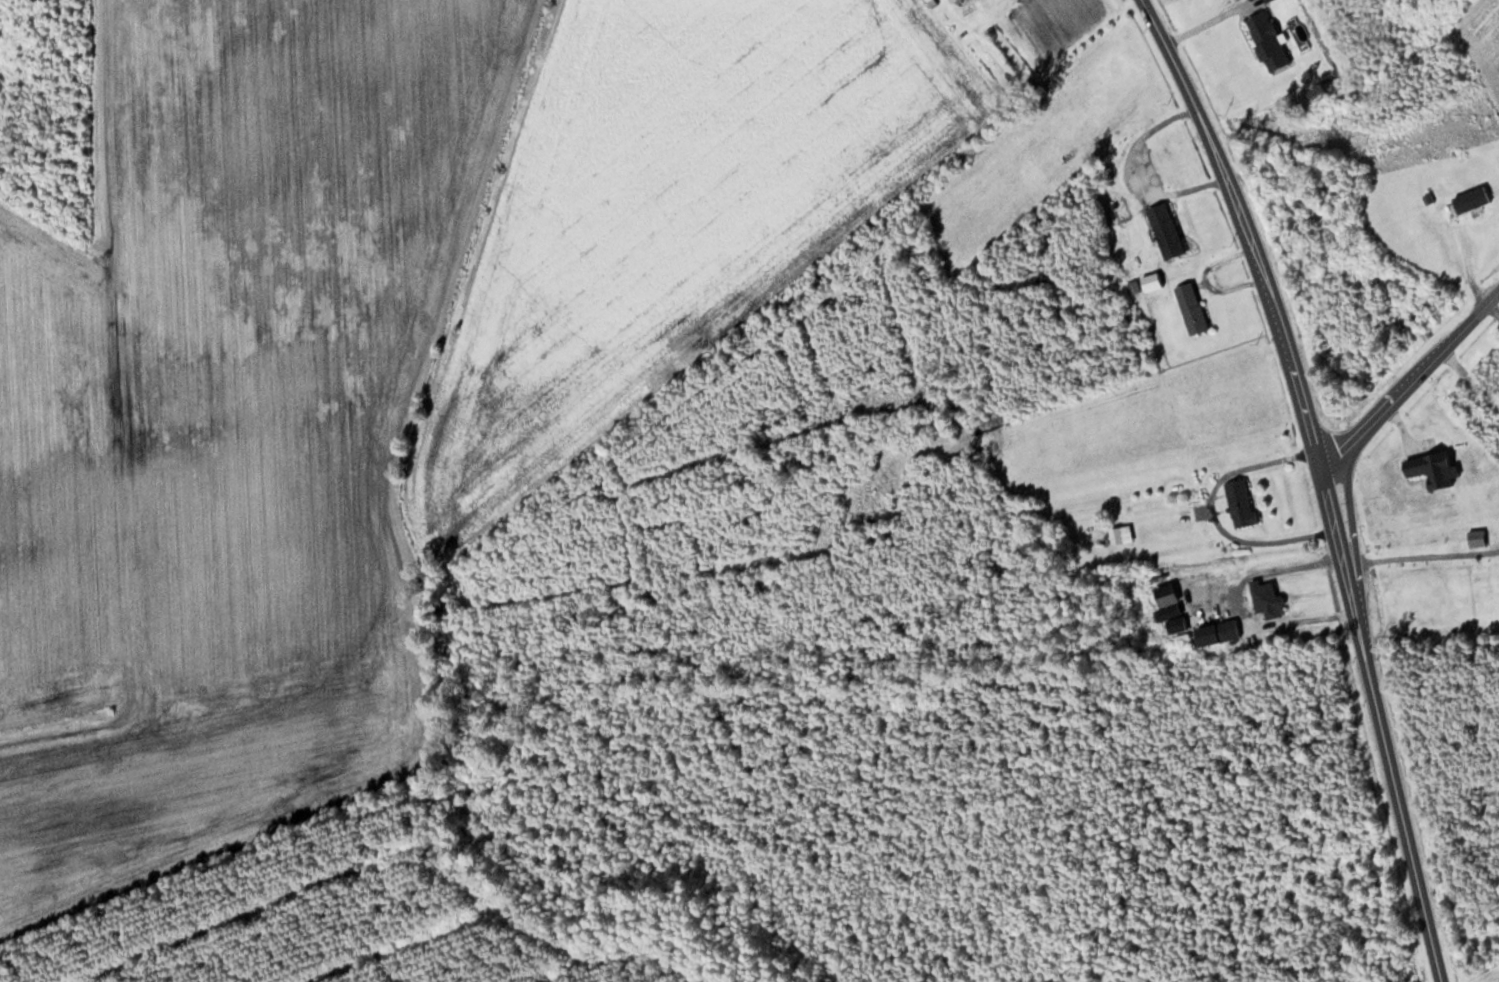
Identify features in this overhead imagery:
building: (1263, 40)
building: (1497, 209)
building: (1163, 230)
building: (1154, 284)
building: (1189, 307)
road: (1411, 382)
building: (1488, 404)
road: (1324, 480)
building: (1420, 494)
building: (1147, 502)
building: (1237, 502)
building: (1116, 535)
building: (1439, 577)
building: (1264, 599)
building: (1223, 631)

